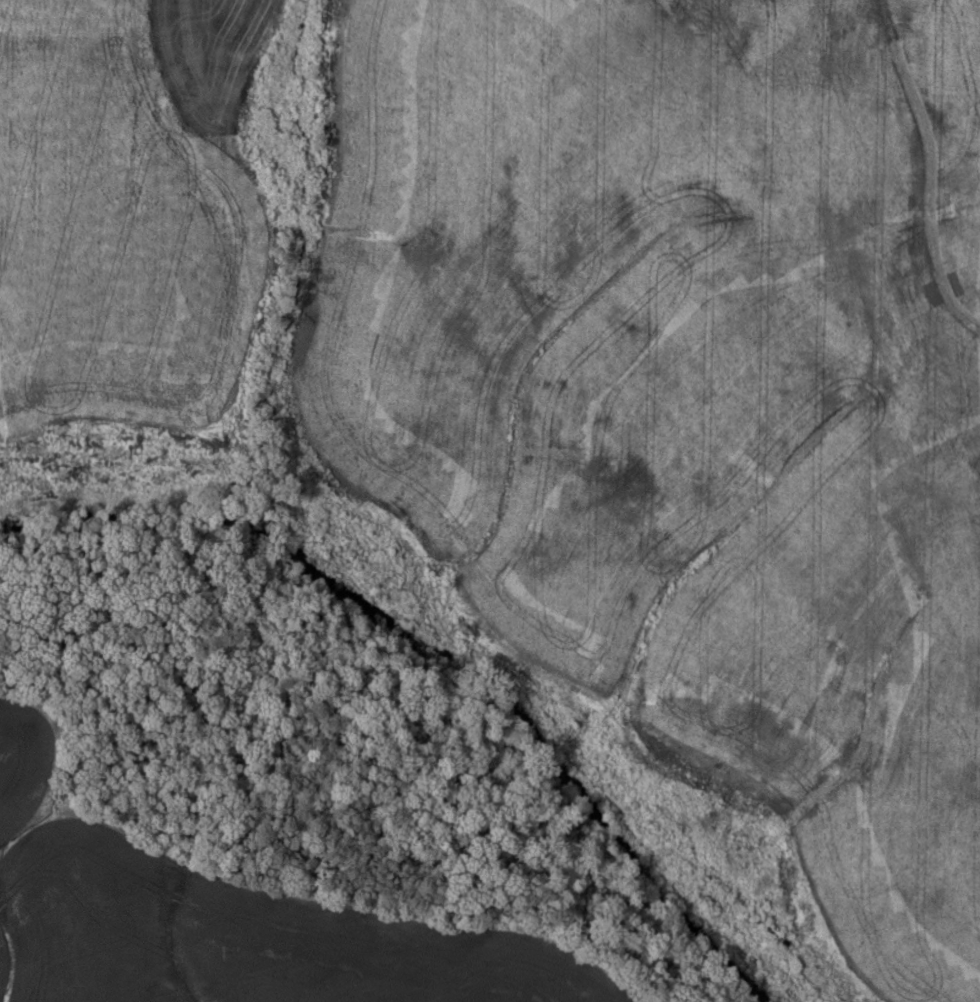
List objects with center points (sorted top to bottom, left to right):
crop: (125, 208)
crop: (696, 393)
crop: (231, 920)

